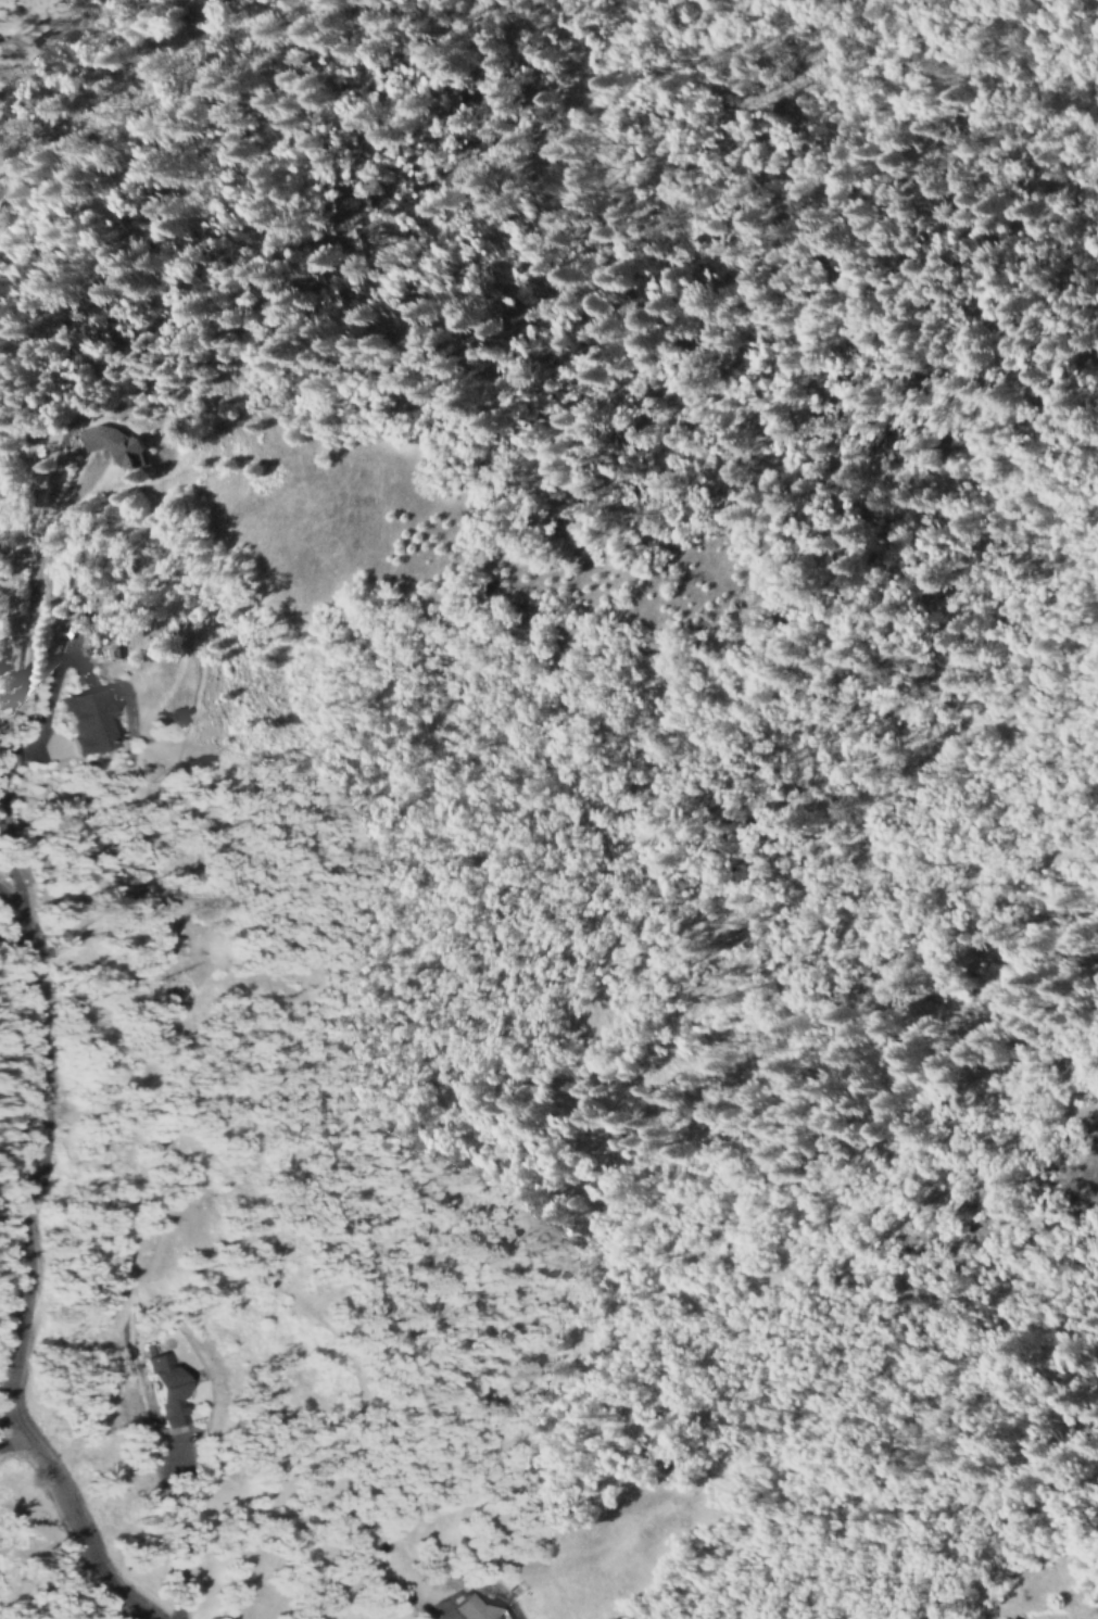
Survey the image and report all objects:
building: (118, 445)
road: (30, 610)
building: (87, 720)
road: (12, 877)
road: (23, 1274)
building: (168, 1388)
building: (474, 1607)

